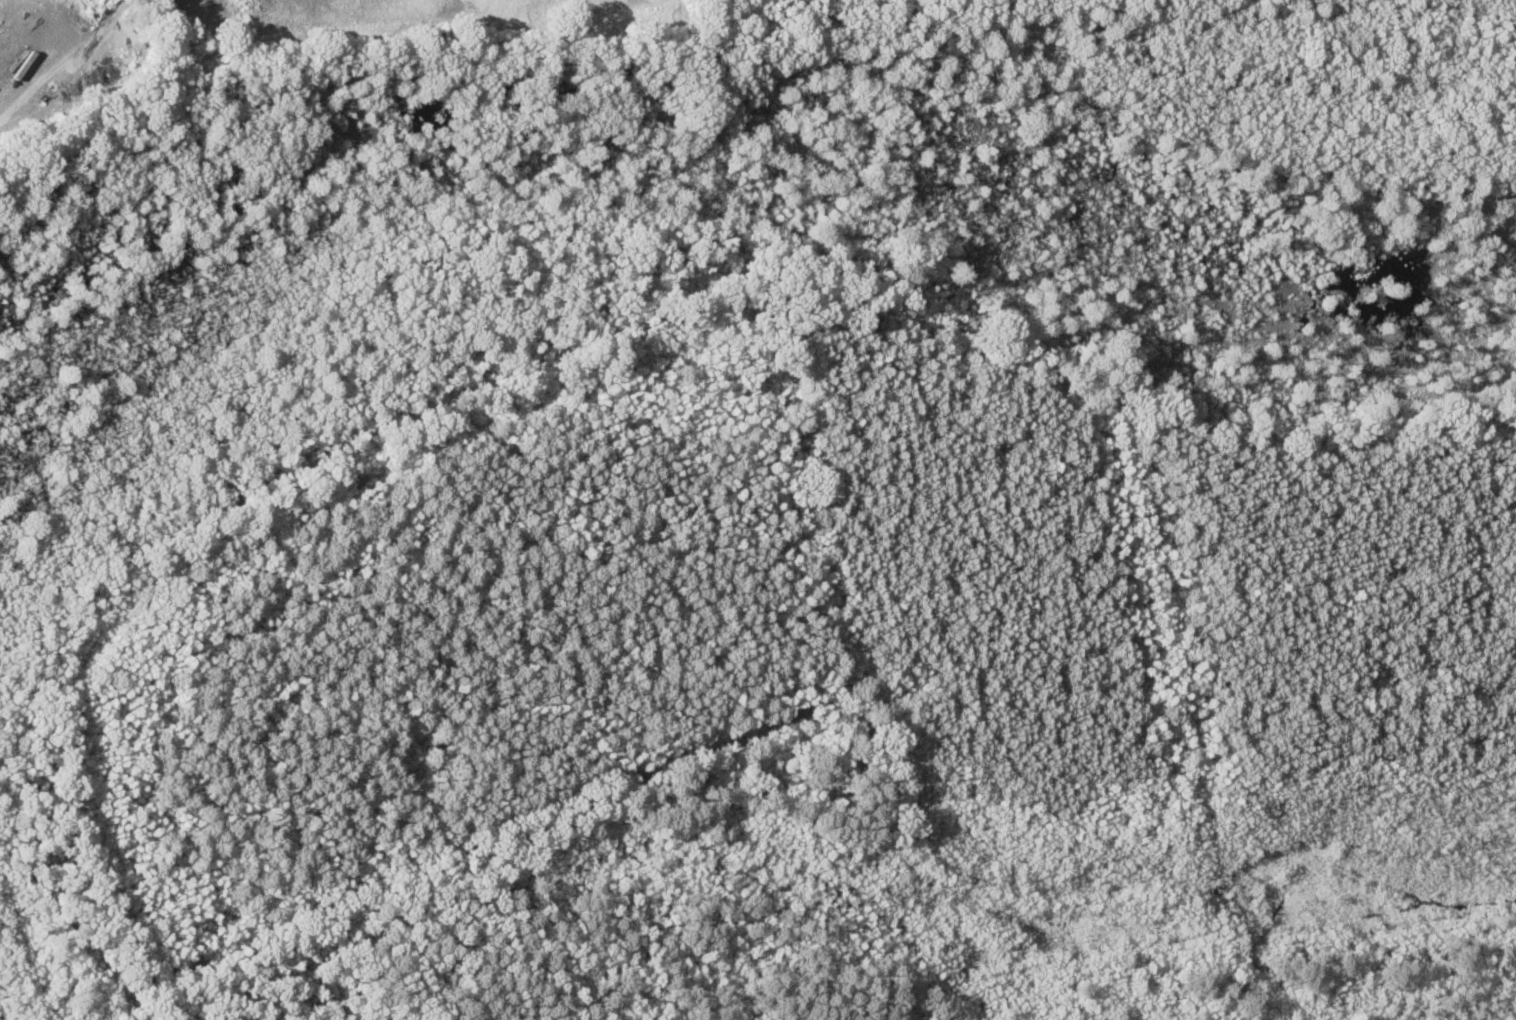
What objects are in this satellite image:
road: (74, 82)

